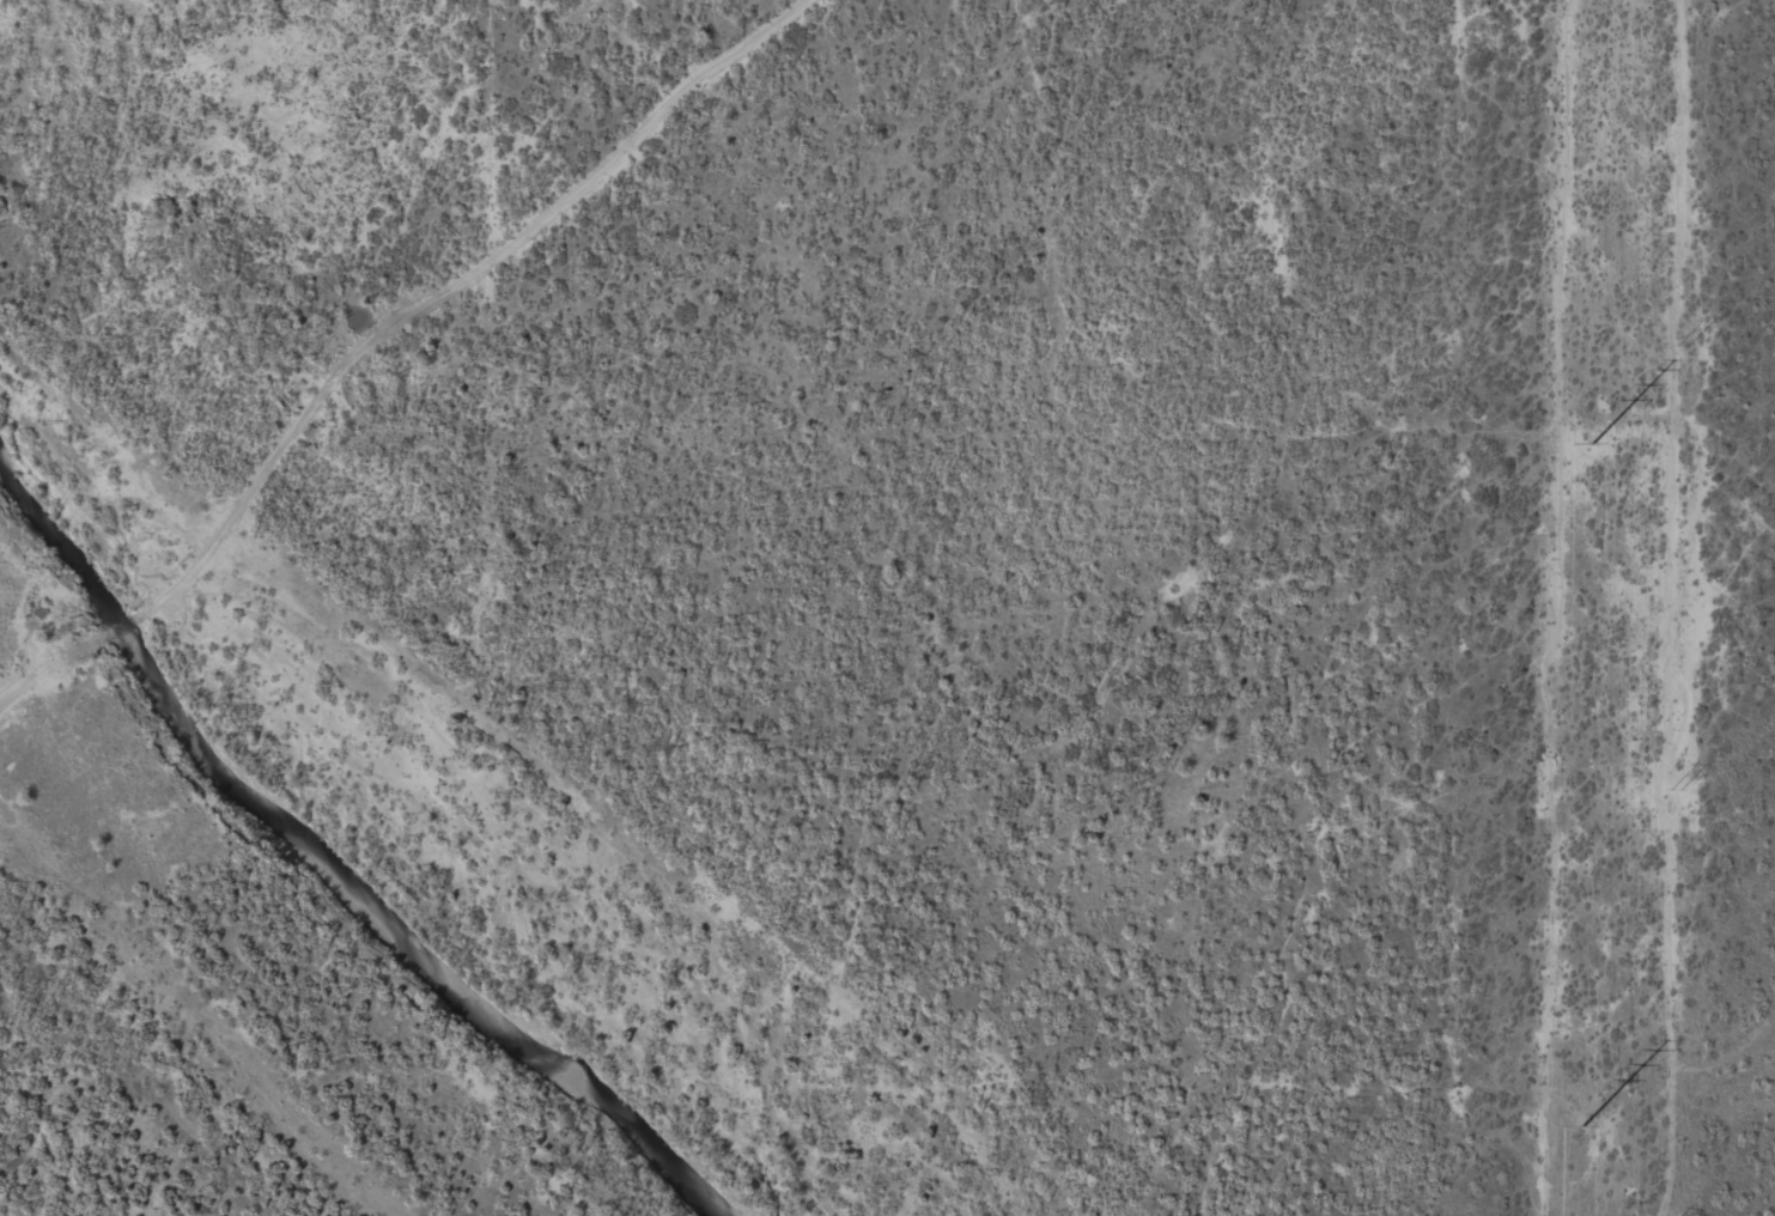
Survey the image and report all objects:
road: (445, 291)
power tower: (1682, 343)
power tower: (1593, 444)
road: (57, 661)
power tower: (1676, 788)
river: (336, 864)
power tower: (1582, 1126)

